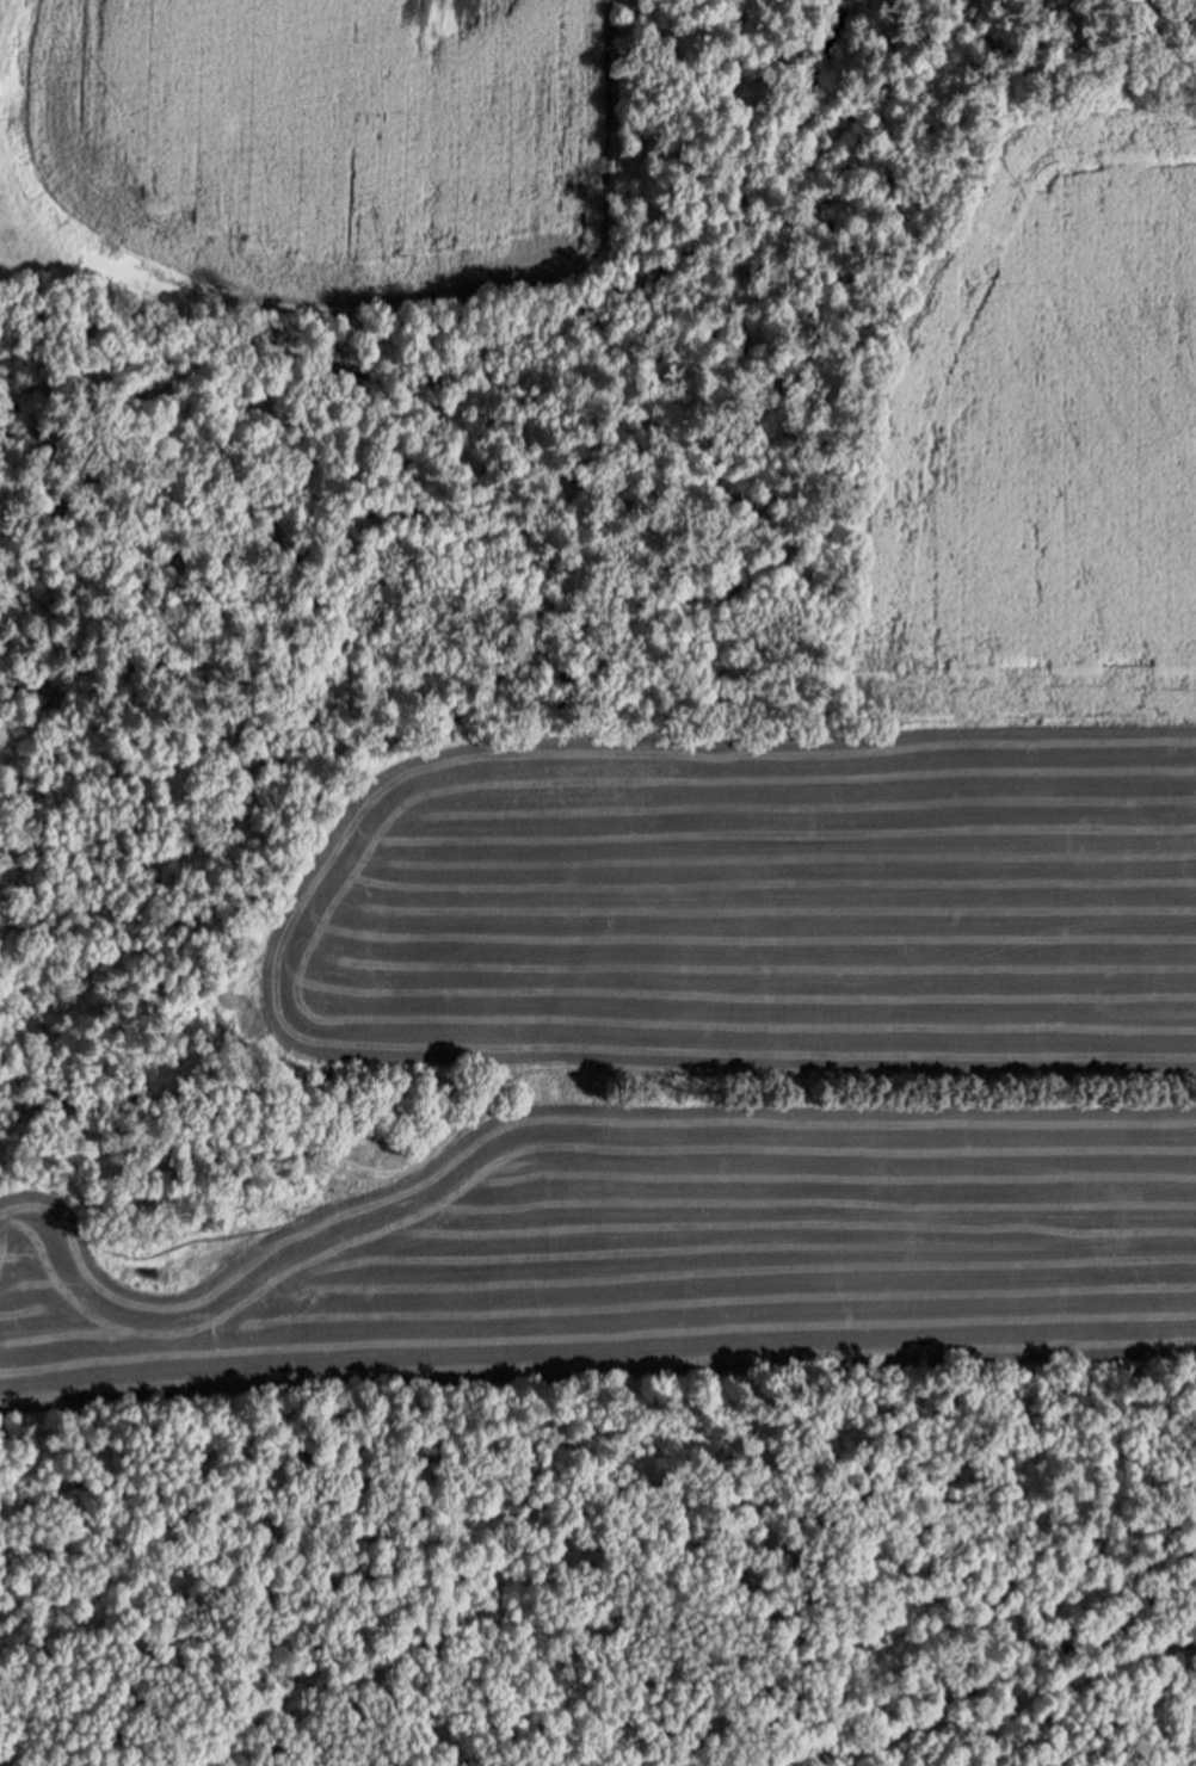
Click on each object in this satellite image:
crop: (306, 143)

